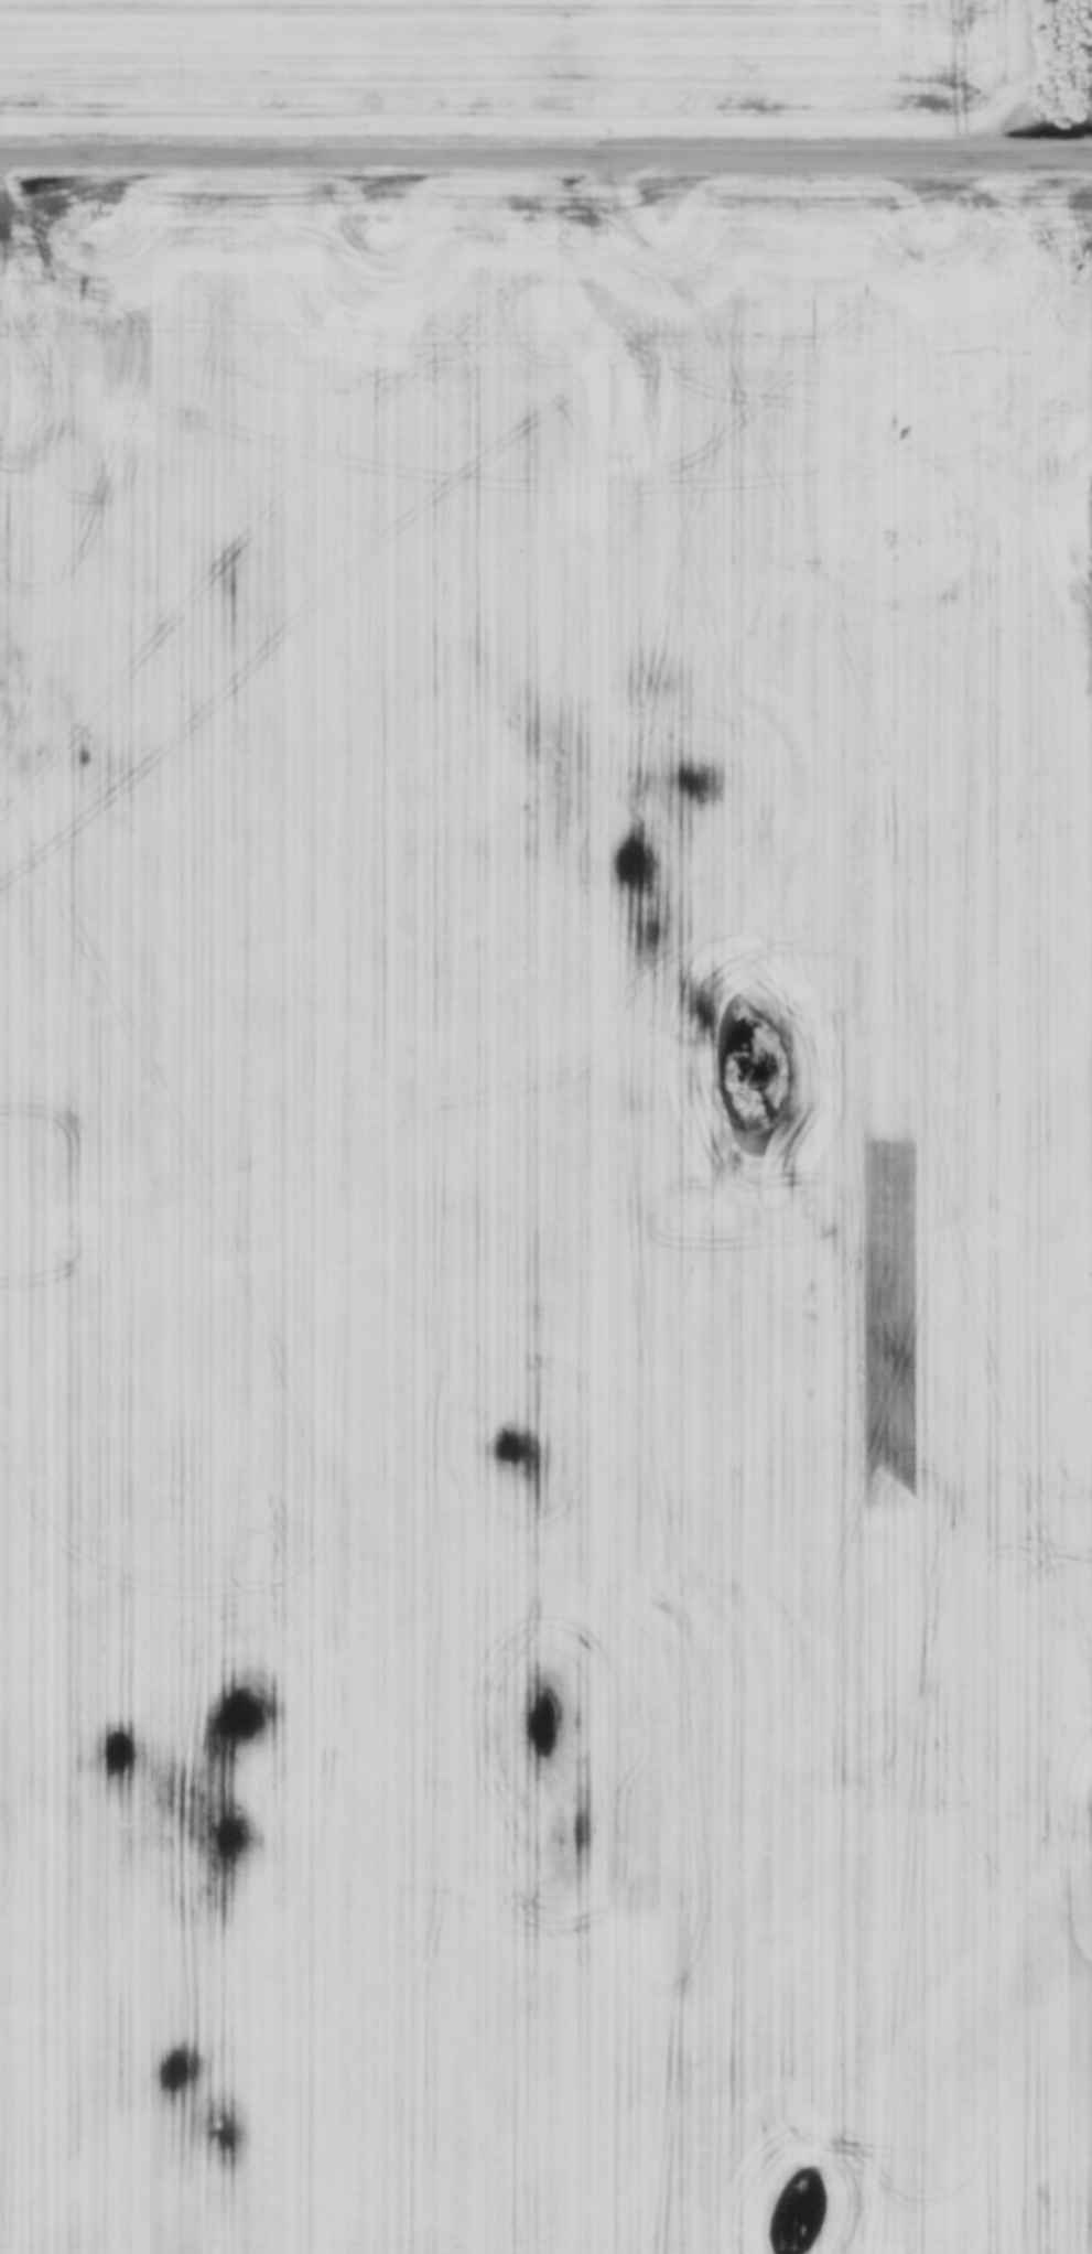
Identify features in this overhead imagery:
road: (545, 145)
building: (975, 354)
building: (912, 440)
building: (884, 442)
building: (945, 444)

